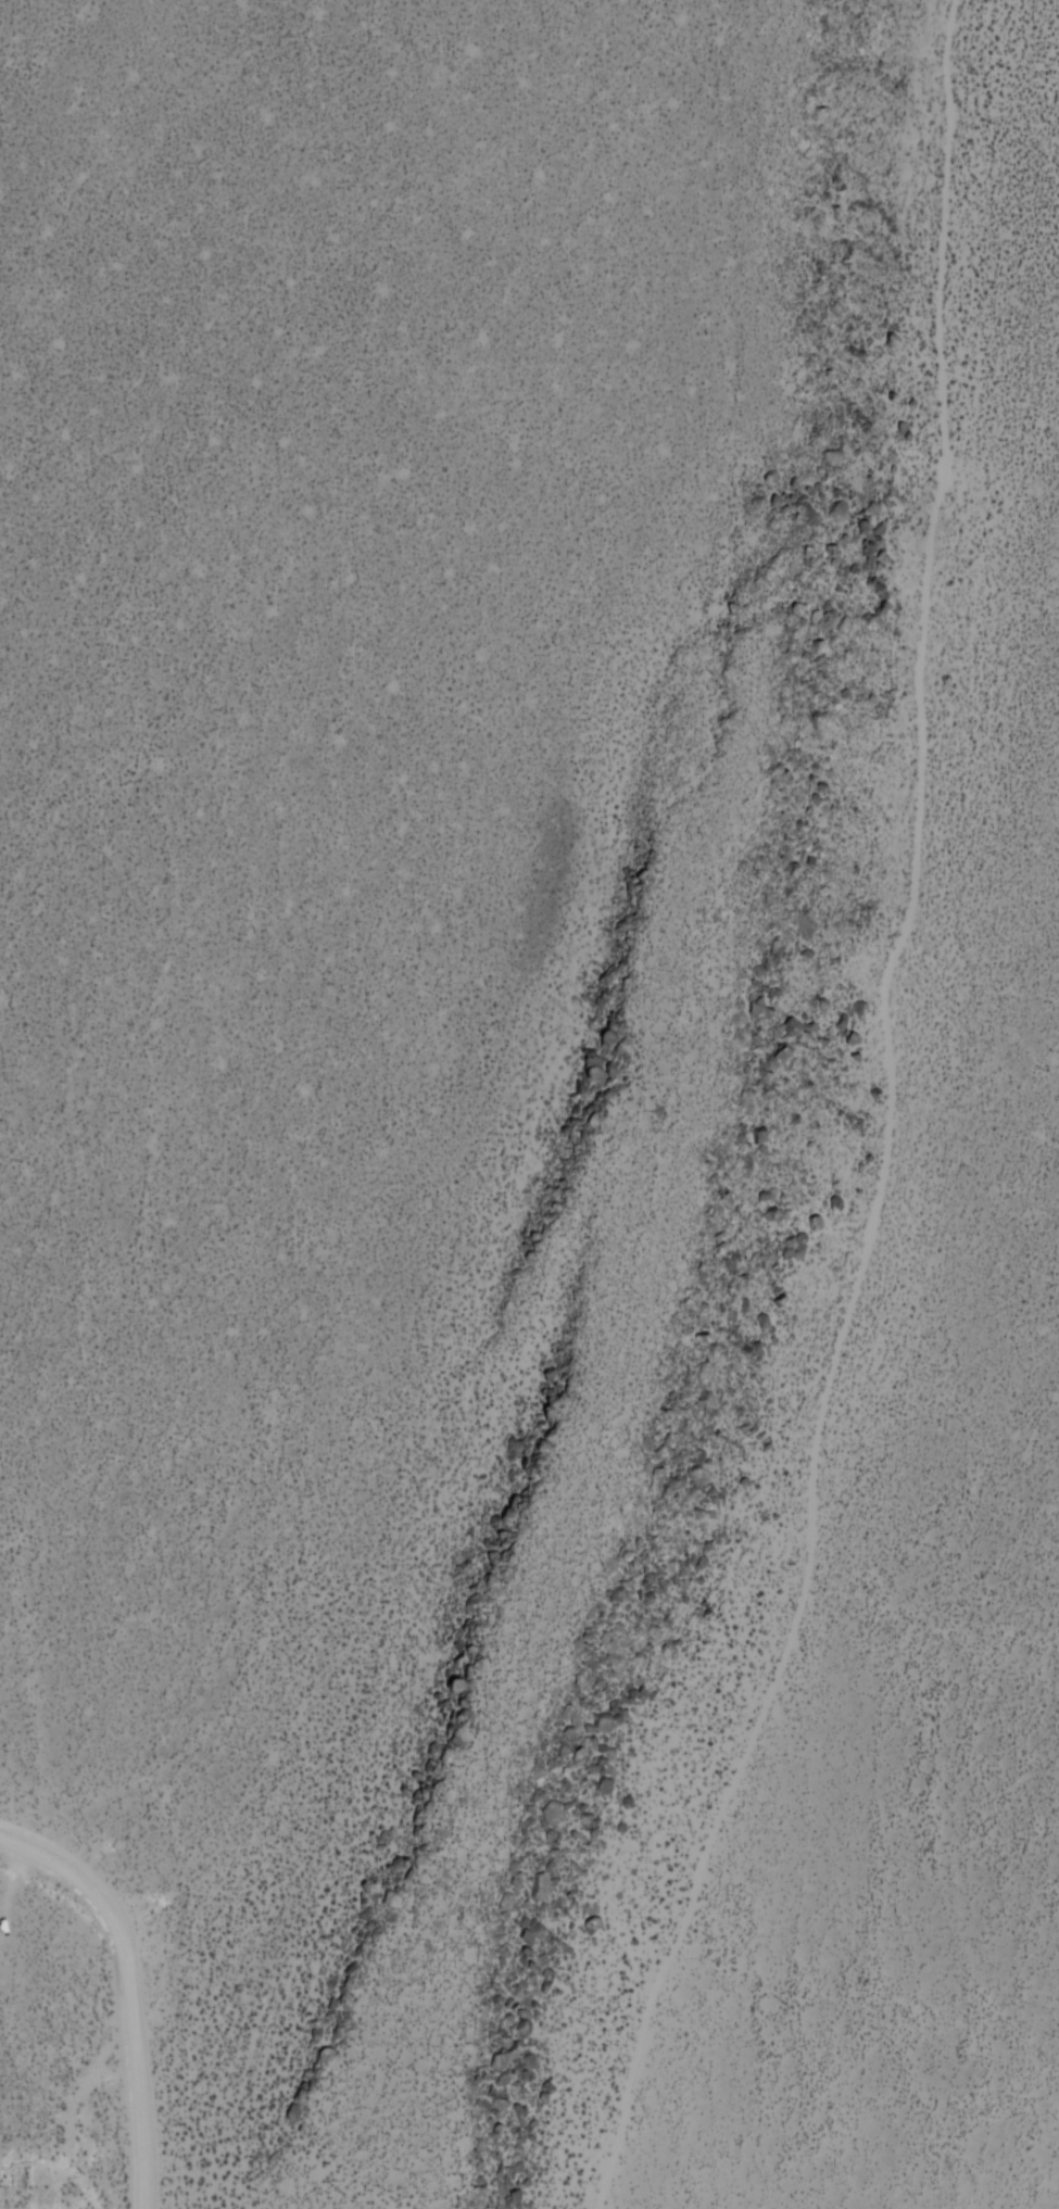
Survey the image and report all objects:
road: (905, 1127)
road: (134, 1991)

